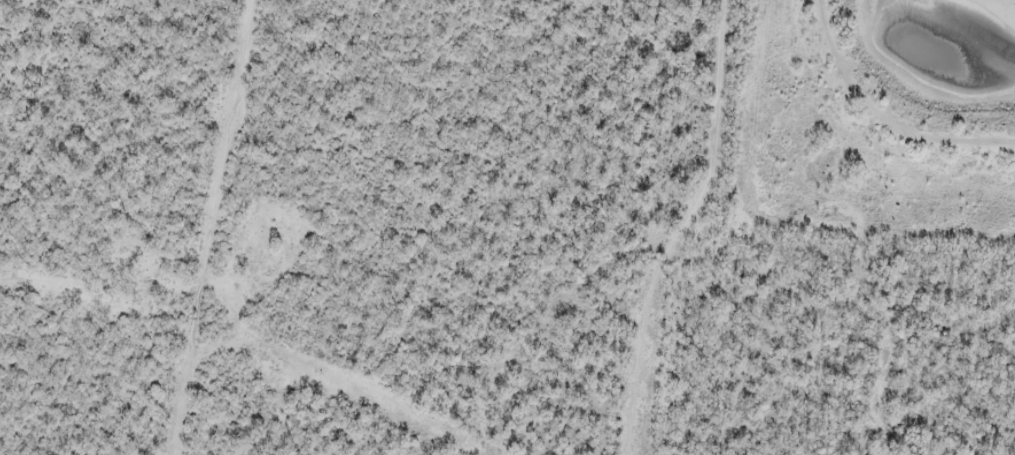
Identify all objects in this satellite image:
road: (704, 226)

